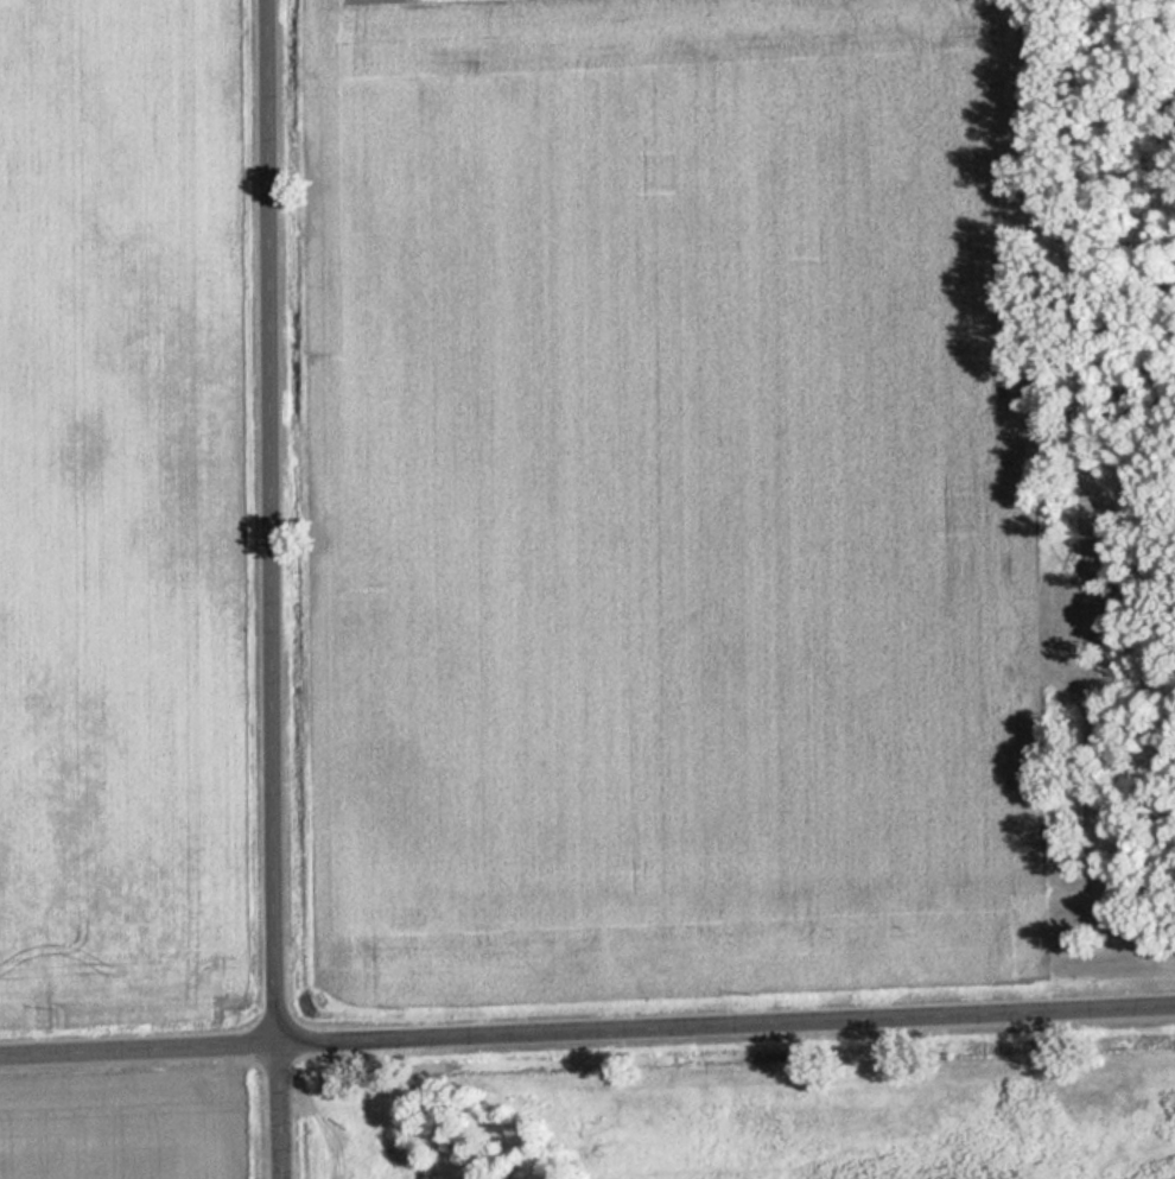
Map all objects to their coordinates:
road: (279, 589)
road: (586, 1029)

